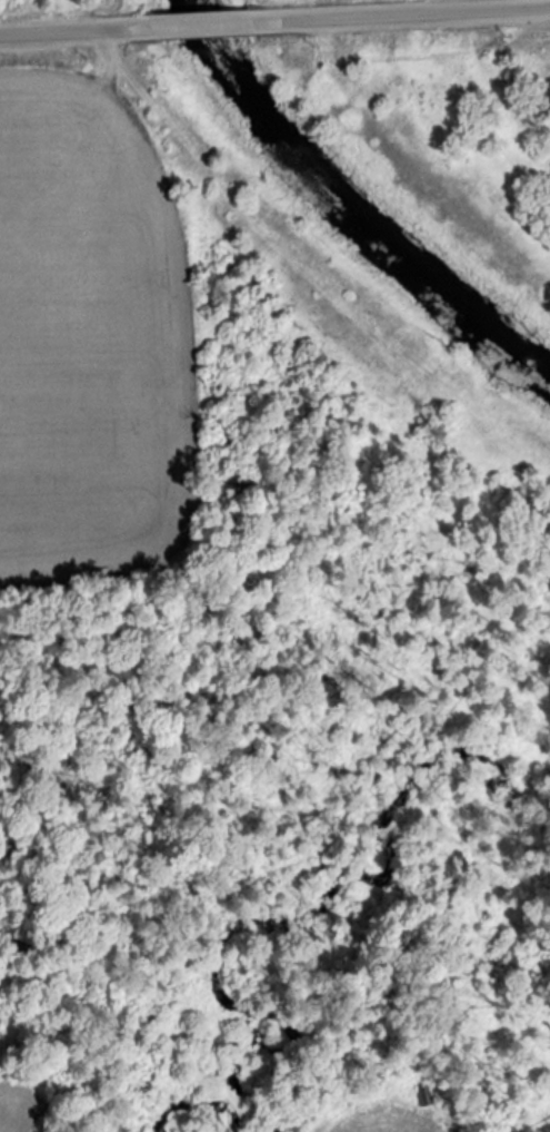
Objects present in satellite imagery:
road: (478, 6)
road: (401, 14)
road: (201, 26)
road: (73, 31)
river: (346, 215)
crop: (87, 316)
building: (428, 1096)
crop: (17, 1100)

